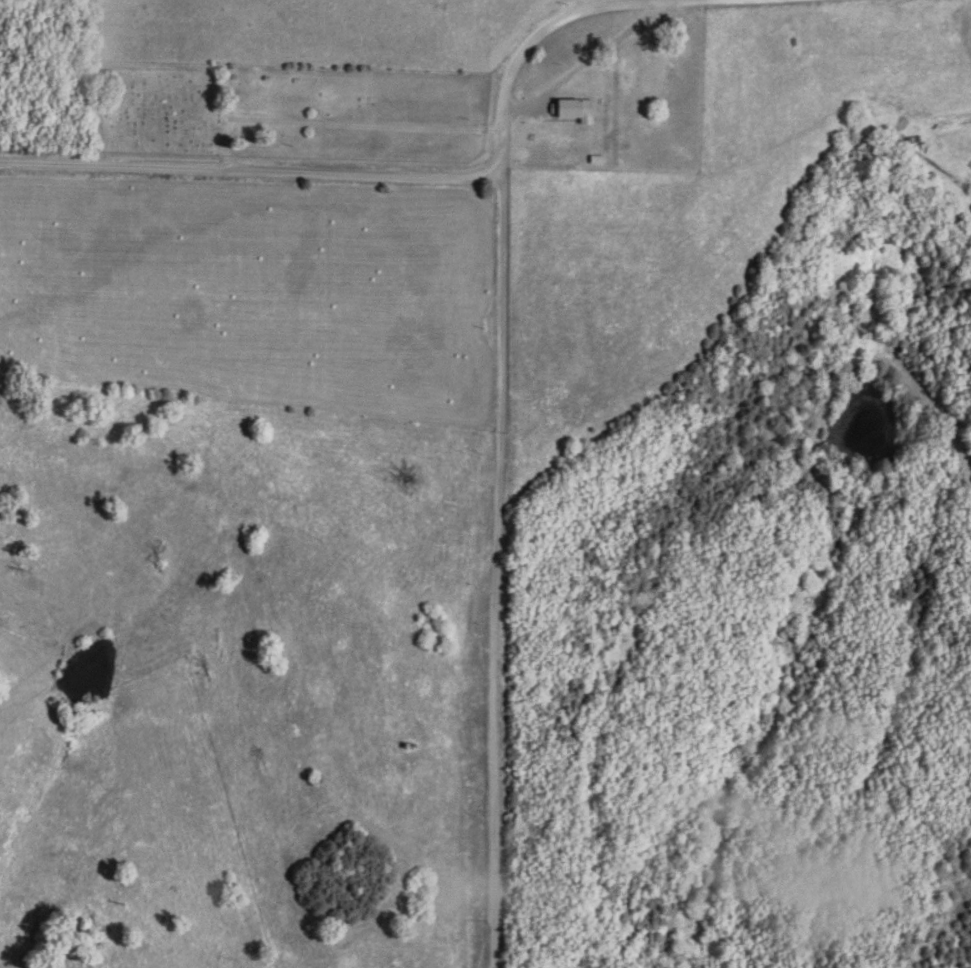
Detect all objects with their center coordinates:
road: (514, 61)
building: (576, 110)
park: (296, 115)
road: (251, 172)
road: (519, 563)

